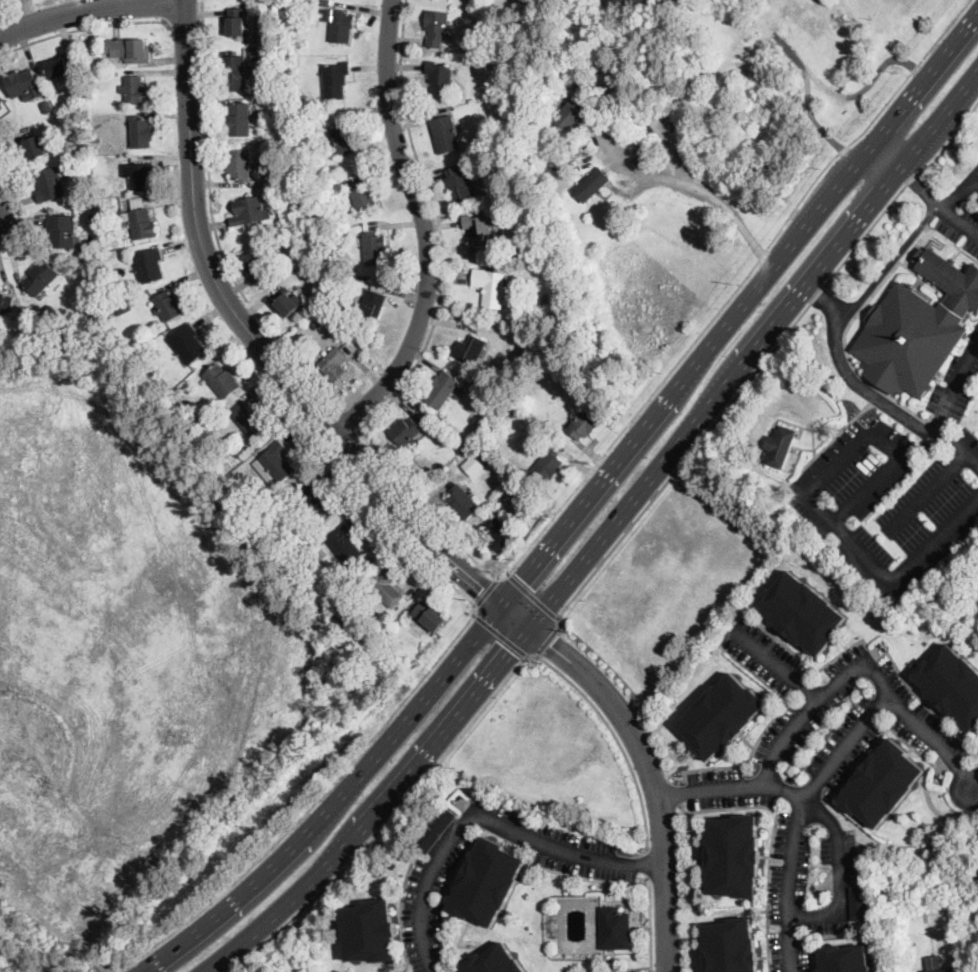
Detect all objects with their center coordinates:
building: (627, 1)
road: (656, 1)
building: (327, 3)
road: (90, 9)
building: (249, 11)
building: (326, 15)
building: (237, 22)
road: (84, 26)
building: (341, 26)
building: (437, 27)
building: (129, 50)
building: (253, 51)
building: (63, 66)
building: (236, 74)
building: (336, 79)
building: (439, 80)
building: (22, 83)
building: (137, 91)
building: (1, 99)
building: (510, 101)
building: (48, 107)
building: (86, 108)
building: (77, 109)
building: (87, 117)
building: (569, 117)
building: (72, 119)
building: (240, 119)
building: (139, 132)
building: (445, 134)
building: (577, 138)
building: (345, 140)
building: (36, 147)
road: (896, 154)
building: (240, 164)
building: (485, 174)
building: (140, 176)
building: (460, 182)
building: (51, 185)
building: (592, 185)
road: (927, 186)
road: (959, 188)
building: (103, 192)
building: (362, 194)
road: (725, 205)
building: (251, 211)
building: (340, 213)
parking lot: (962, 213)
building: (96, 217)
road: (957, 217)
building: (140, 220)
road: (441, 224)
road: (213, 225)
building: (531, 226)
road: (425, 228)
building: (63, 231)
building: (479, 232)
building: (375, 248)
road: (891, 260)
building: (149, 266)
building: (311, 266)
building: (256, 267)
building: (41, 277)
building: (492, 287)
building: (333, 291)
building: (287, 302)
building: (372, 304)
building: (6, 306)
building: (168, 306)
building: (116, 312)
building: (54, 313)
building: (45, 320)
building: (315, 326)
building: (918, 327)
road: (258, 340)
building: (188, 344)
building: (470, 350)
building: (334, 363)
road: (759, 363)
road: (670, 367)
road: (849, 372)
building: (223, 381)
building: (442, 389)
road: (945, 409)
building: (487, 415)
road: (351, 418)
building: (251, 419)
building: (583, 424)
road: (873, 430)
building: (405, 431)
building: (781, 446)
building: (463, 447)
building: (477, 462)
building: (276, 463)
building: (548, 466)
parking lot: (897, 489)
road: (926, 491)
building: (318, 502)
building: (462, 502)
road: (576, 508)
road: (606, 532)
building: (501, 535)
building: (346, 543)
road: (904, 565)
traffic signals: (521, 577)
building: (386, 587)
traffic signals: (482, 588)
road: (487, 590)
road: (531, 595)
building: (802, 613)
building: (374, 615)
building: (430, 616)
road: (500, 634)
building: (390, 635)
road: (546, 640)
traffic signals: (552, 644)
traffic signals: (510, 650)
road: (856, 667)
building: (952, 685)
road: (816, 694)
road: (395, 708)
building: (722, 716)
parking lot: (801, 726)
road: (765, 727)
road: (464, 728)
parking lot: (928, 730)
road: (932, 738)
road: (644, 759)
building: (883, 784)
road: (677, 791)
road: (812, 804)
road: (800, 818)
road: (486, 823)
building: (436, 830)
road: (772, 837)
building: (734, 857)
road: (647, 861)
building: (393, 866)
road: (581, 875)
parking lot: (428, 878)
parking lot: (835, 882)
building: (487, 883)
parking lot: (789, 895)
building: (860, 903)
road: (650, 924)
building: (553, 925)
building: (615, 929)
building: (371, 932)
building: (731, 947)
building: (845, 959)
building: (495, 961)
road: (623, 967)
building: (947, 970)
parking lot: (627, 971)

